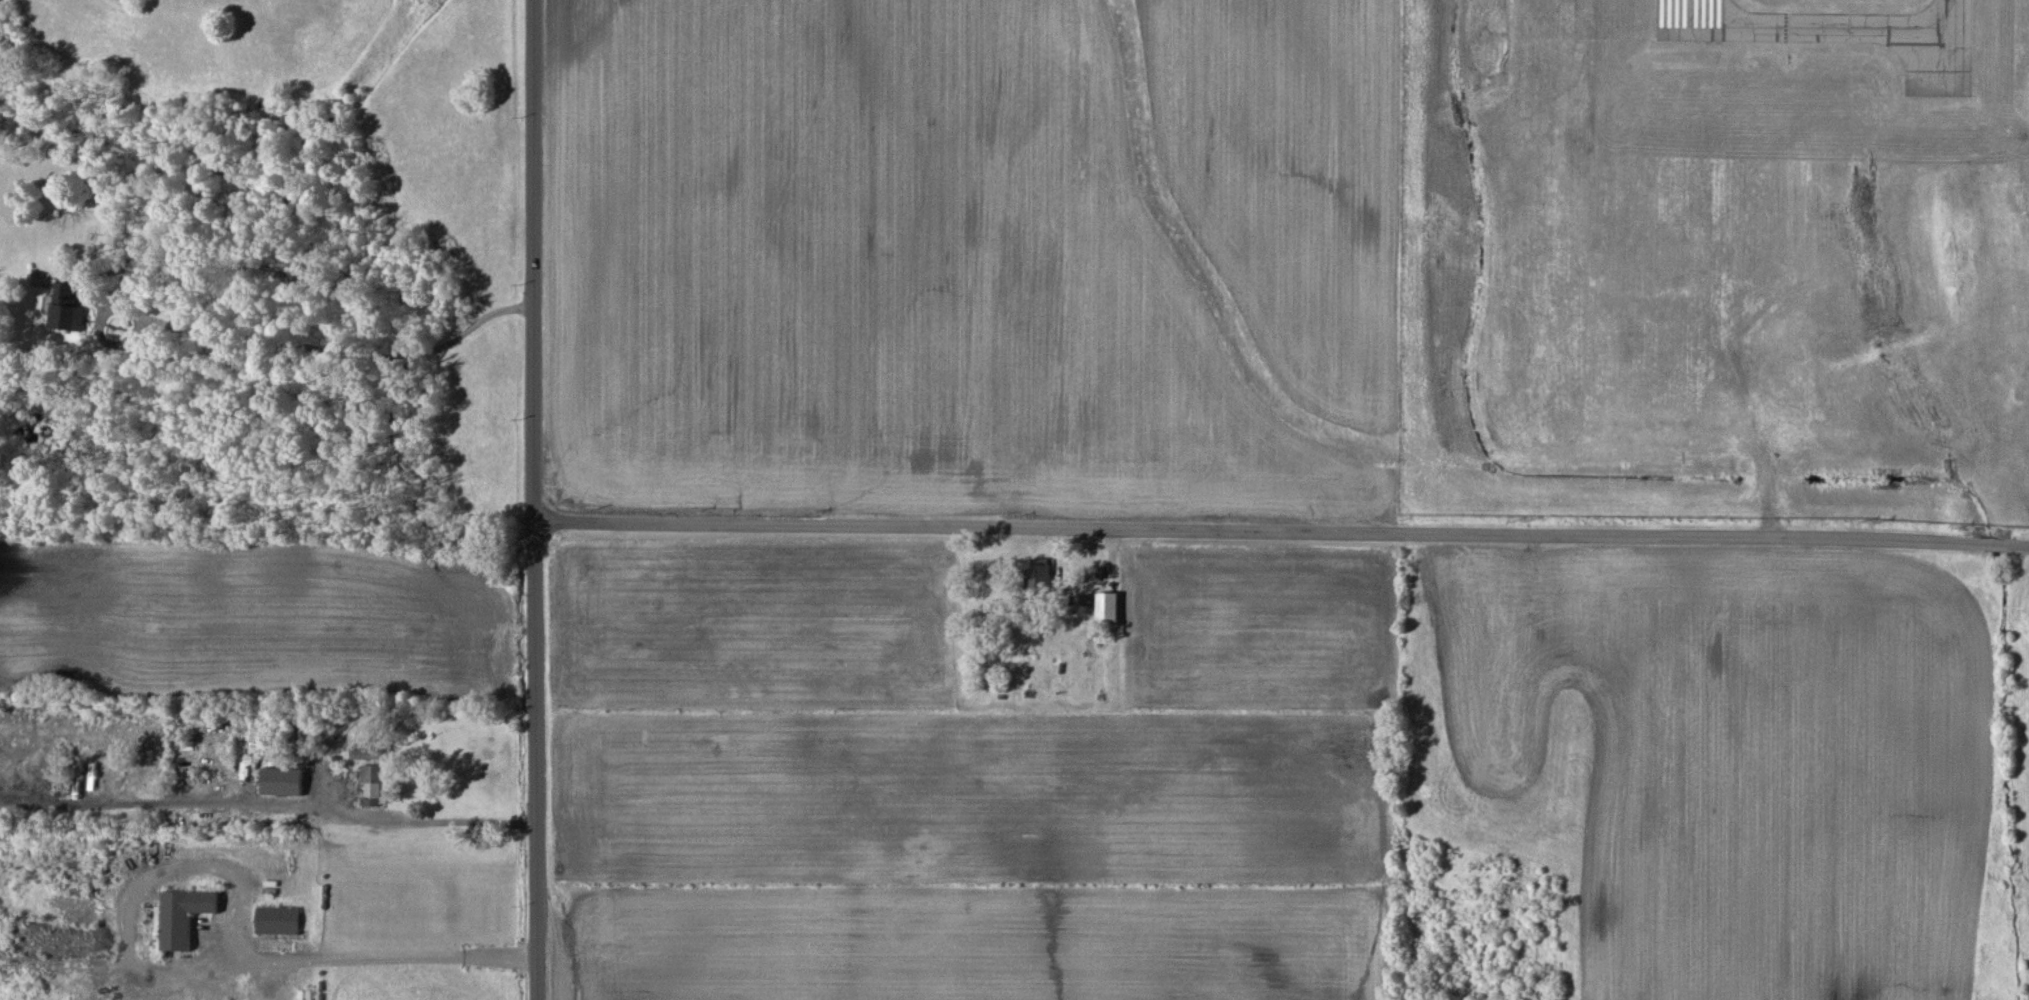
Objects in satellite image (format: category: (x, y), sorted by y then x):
airport runway: (1688, 14)
airport taxiway: (1955, 15)
airport taxiway: (1821, 29)
airport: (1717, 259)
road: (534, 262)
building: (66, 308)
road: (331, 350)
road: (1281, 532)
building: (1038, 574)
building: (1085, 600)
building: (1107, 608)
building: (375, 754)
road: (536, 762)
building: (281, 781)
building: (370, 784)
road: (269, 801)
building: (182, 916)
building: (277, 920)
road: (194, 982)
road: (25, 991)

